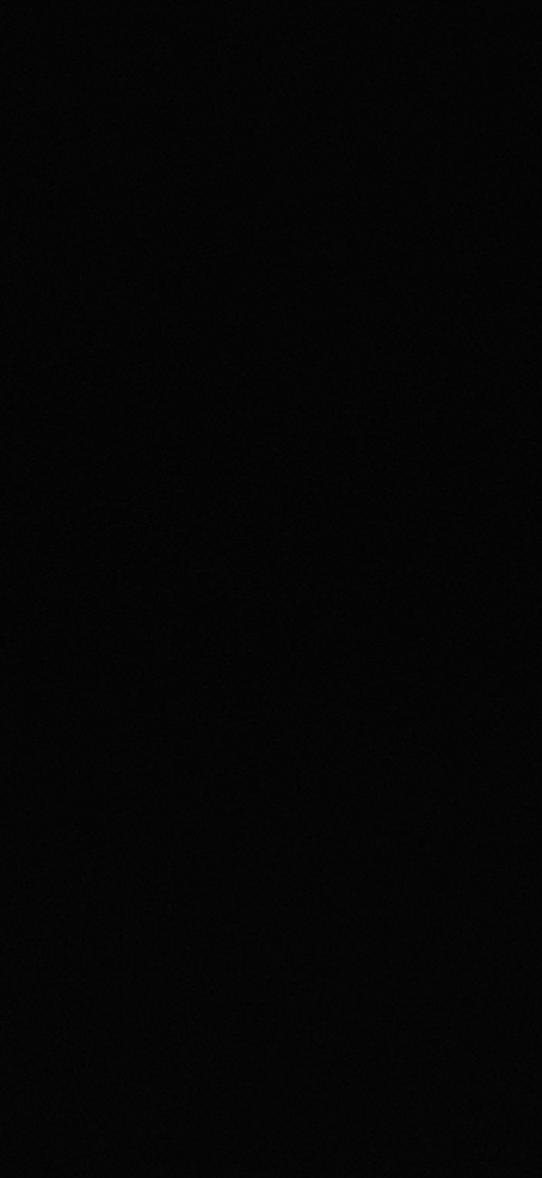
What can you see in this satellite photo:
river: (271, 521)

